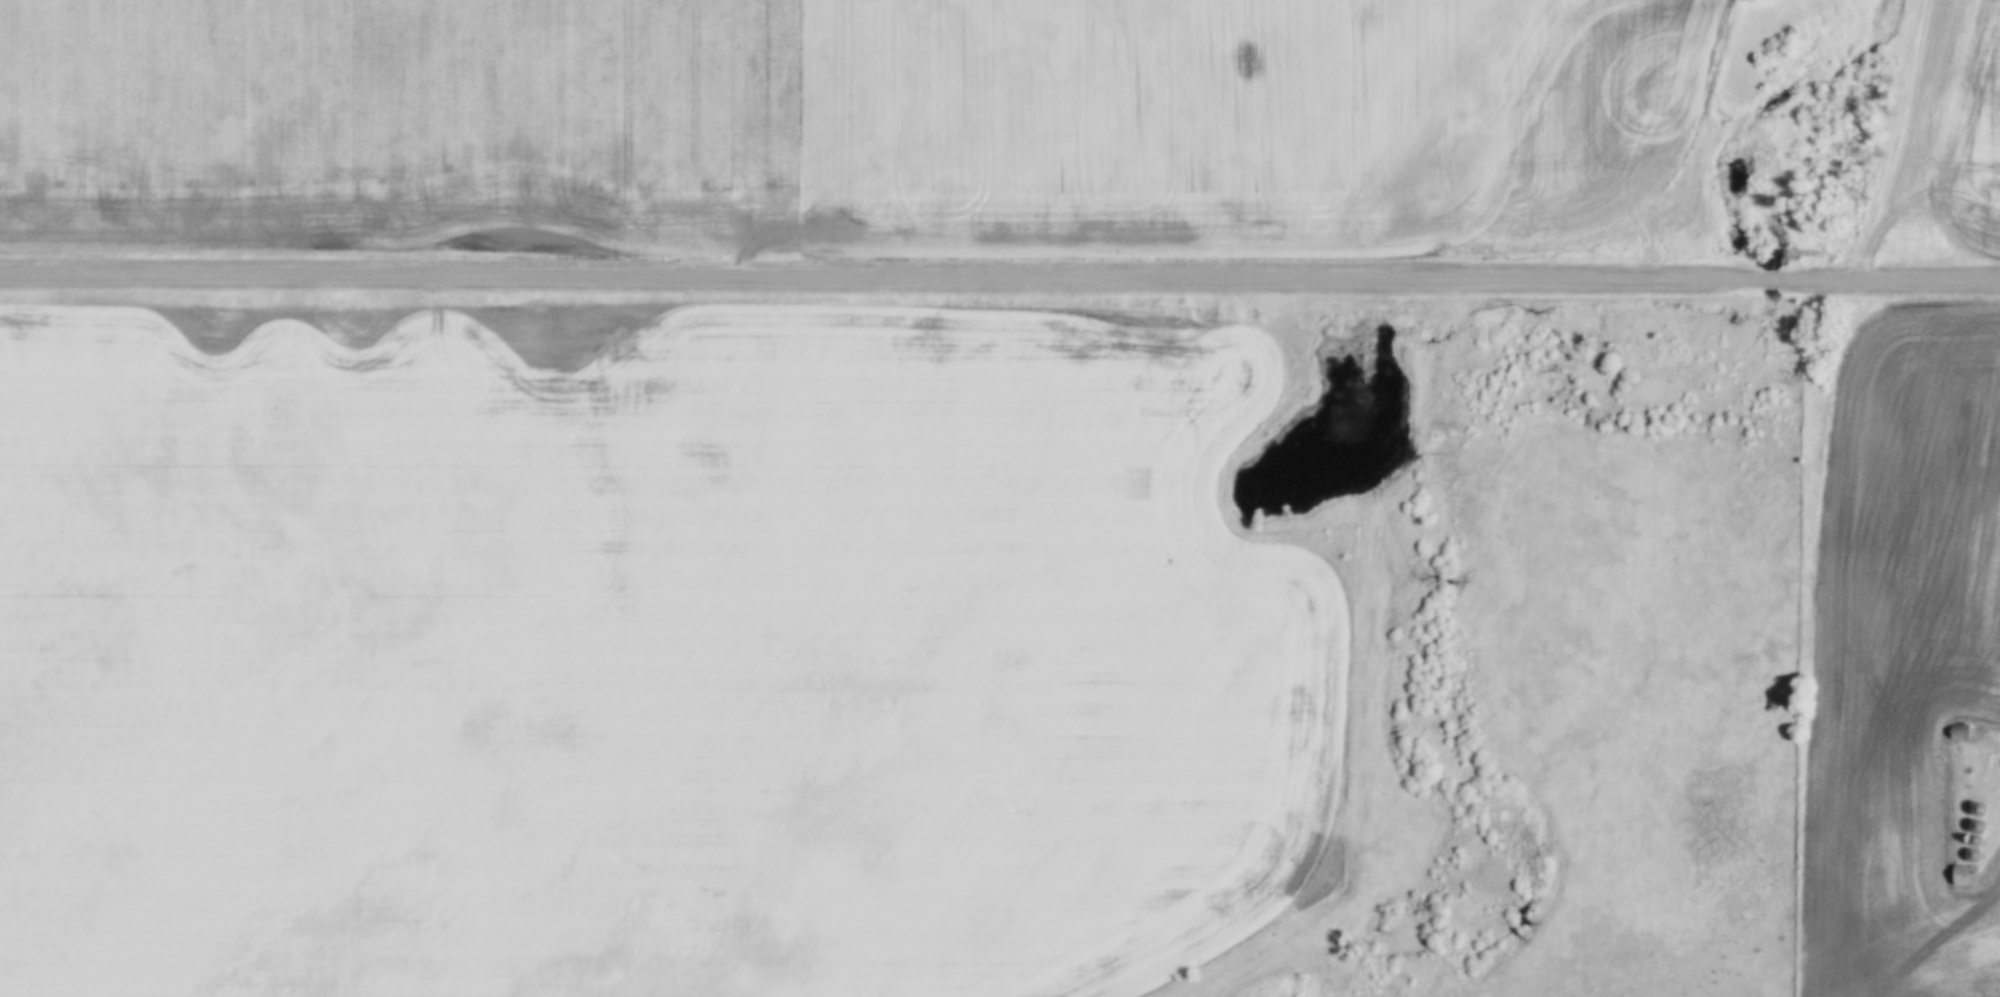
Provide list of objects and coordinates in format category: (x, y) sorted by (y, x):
road: (879, 278)
road: (1768, 280)
road: (1888, 280)
building: (1960, 732)
building: (1976, 808)
building: (1971, 855)
building: (1963, 875)

